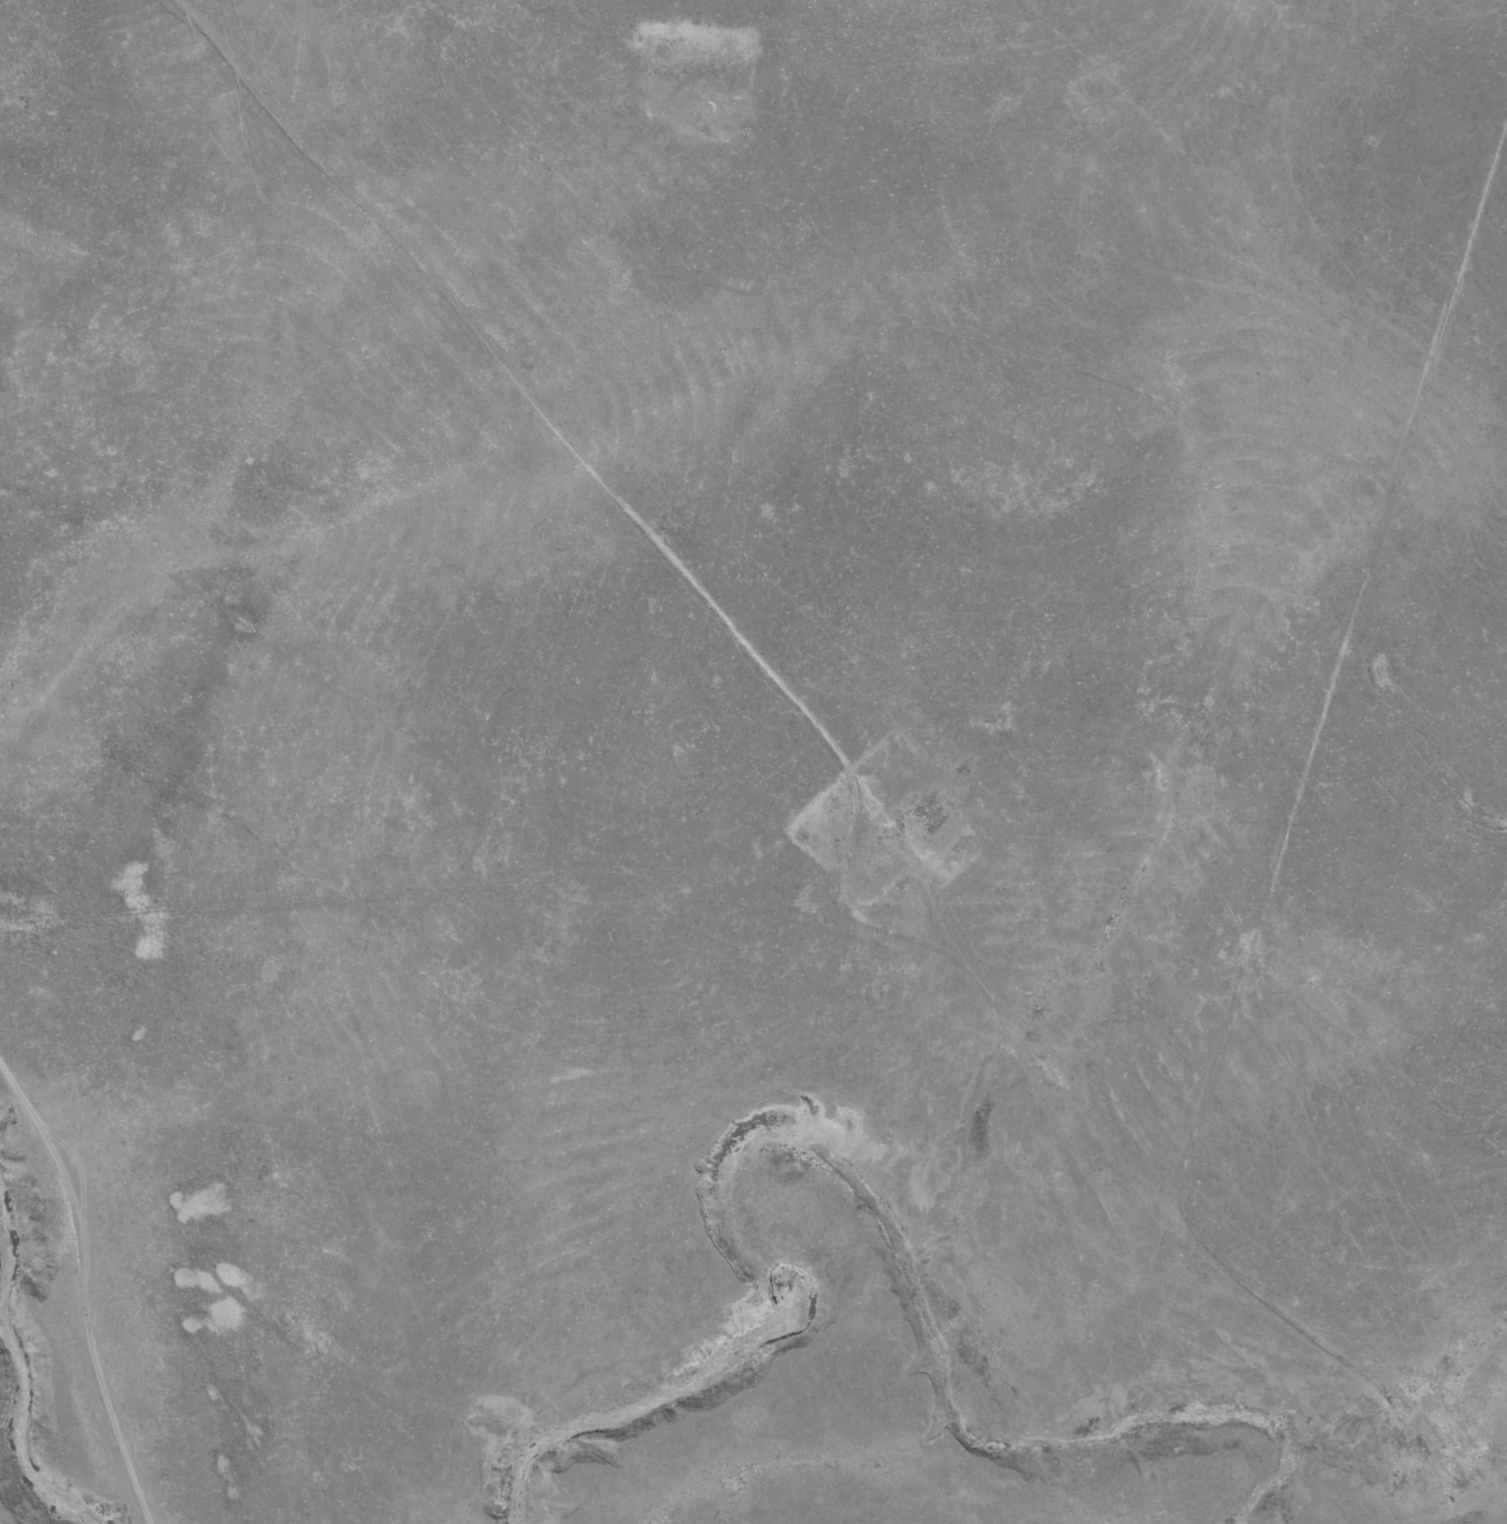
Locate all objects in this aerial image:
road: (88, 1255)
road: (1485, 1512)

